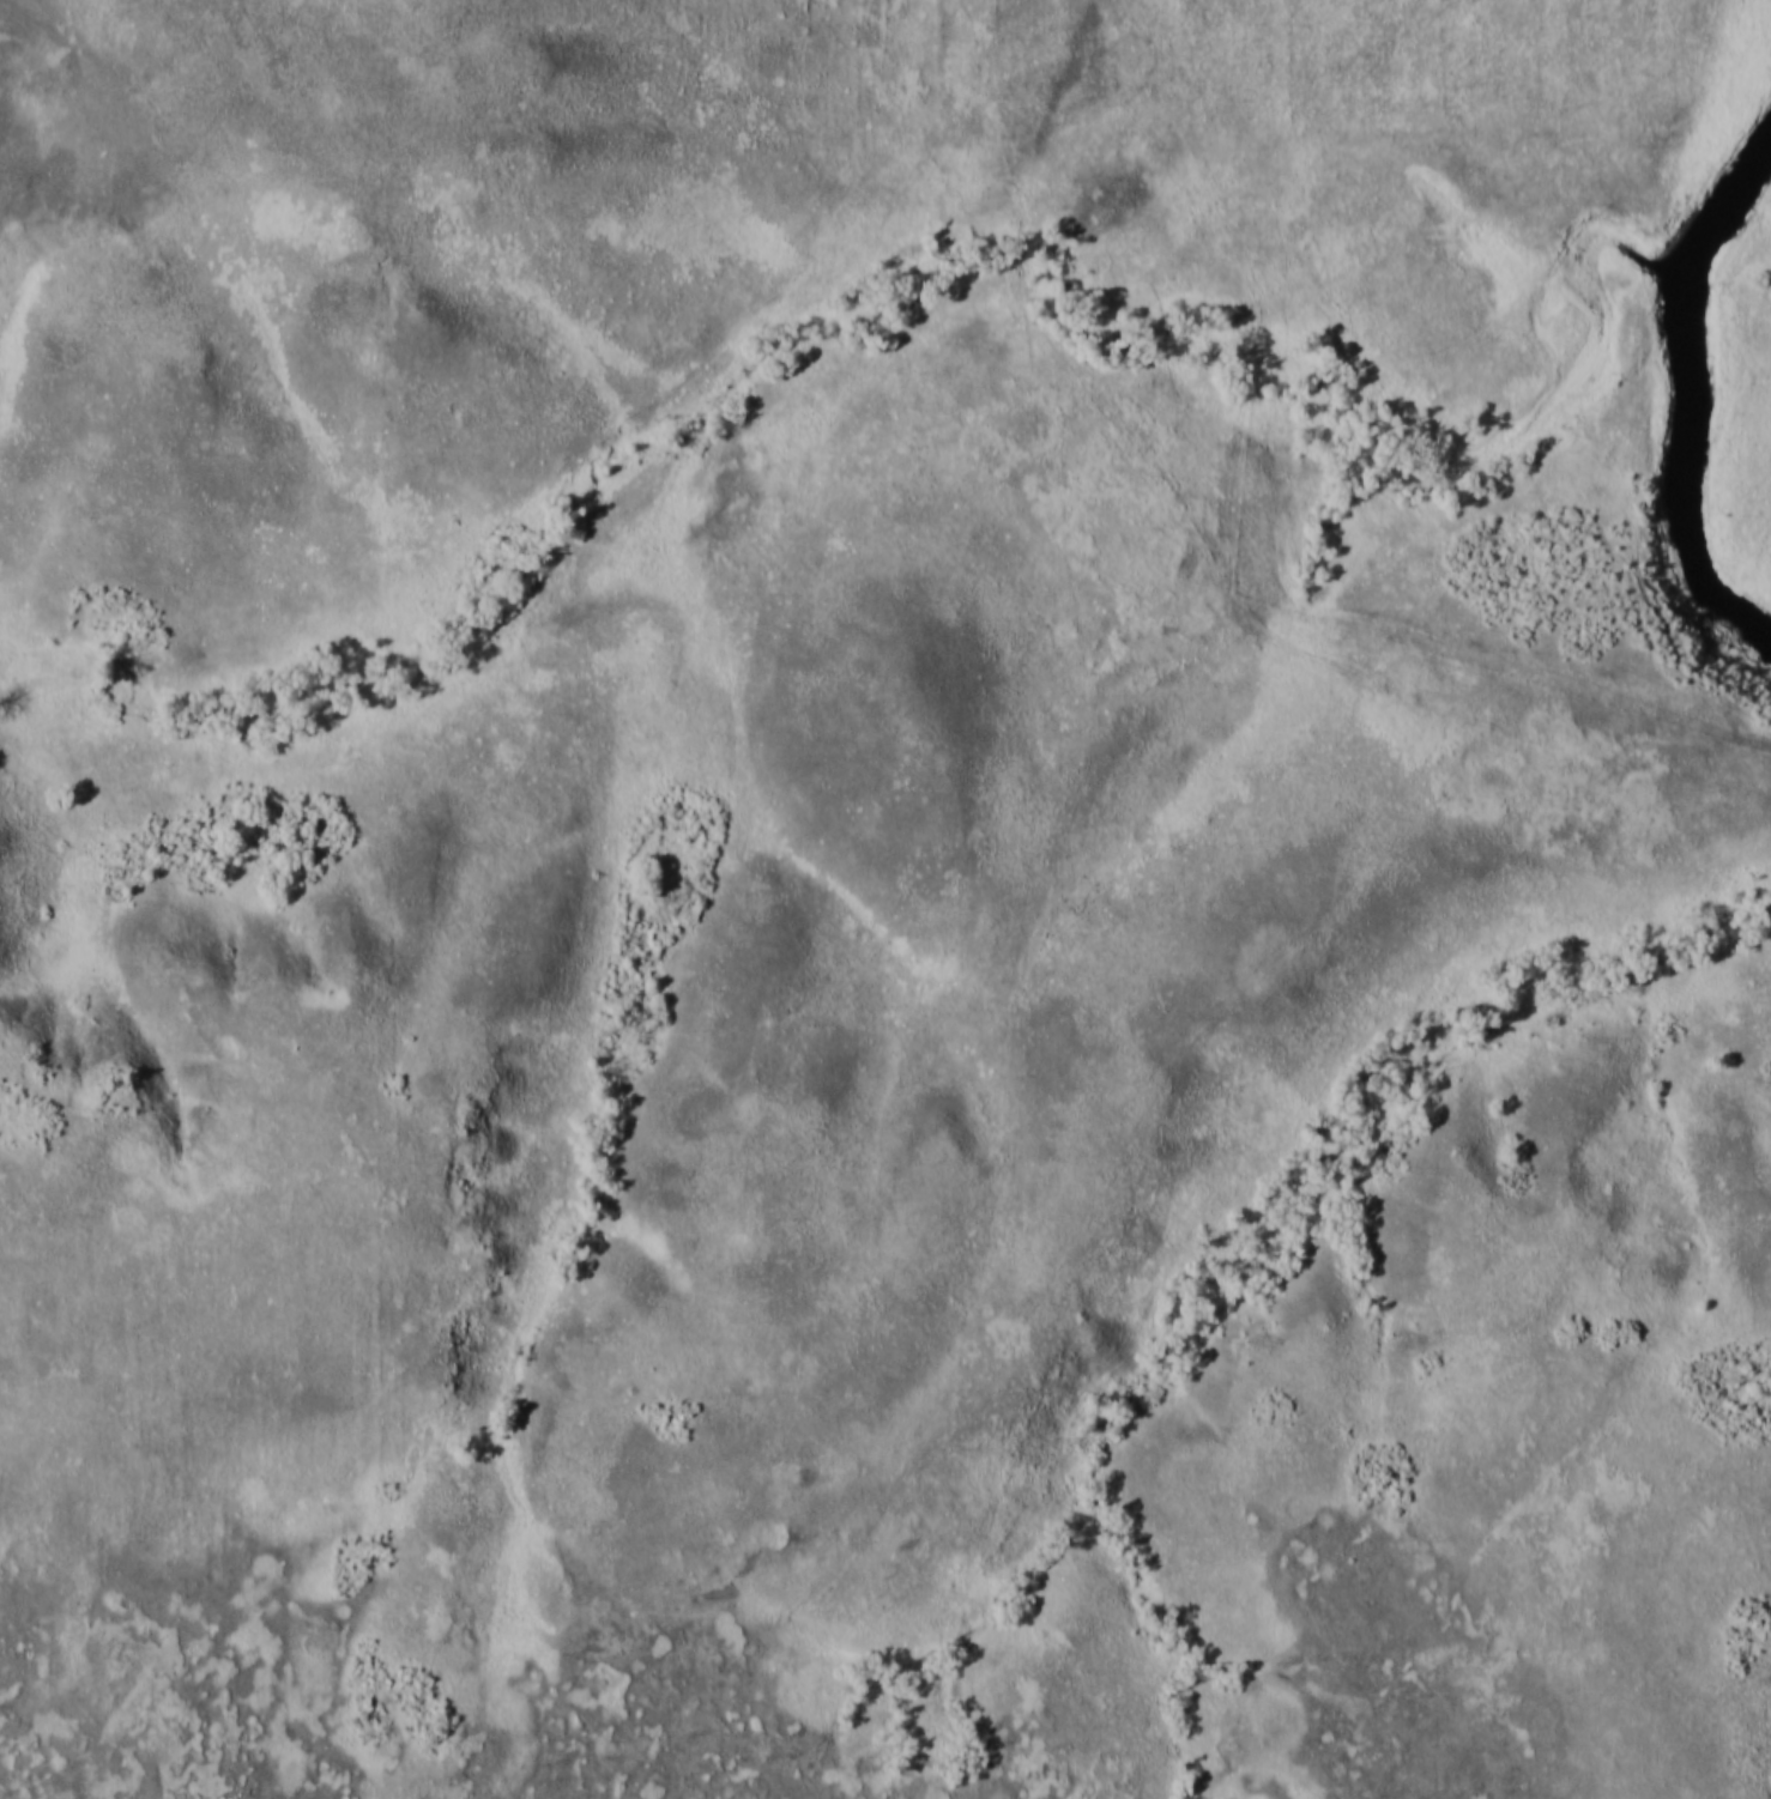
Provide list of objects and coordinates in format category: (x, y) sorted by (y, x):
river: (1688, 393)

